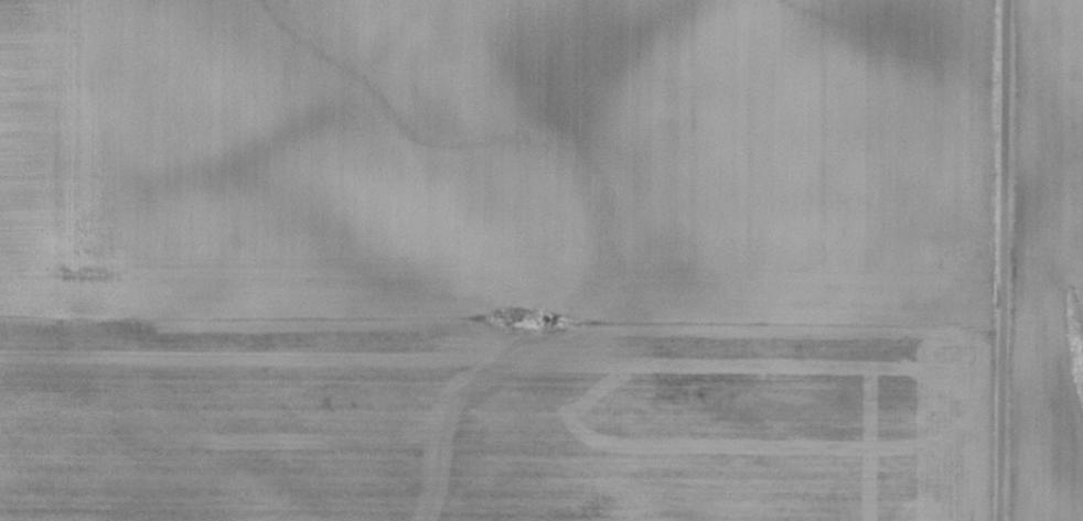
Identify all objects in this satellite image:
road: (1000, 260)

